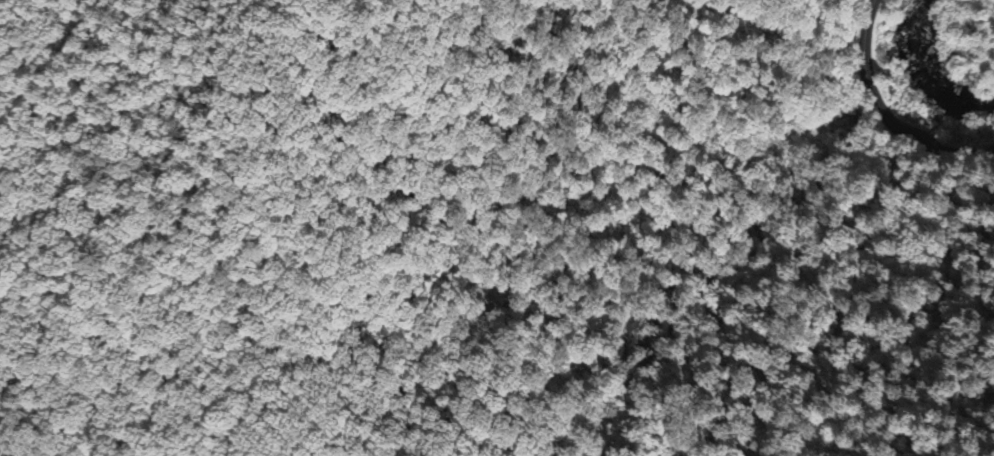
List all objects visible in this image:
river: (921, 77)
road: (883, 115)

